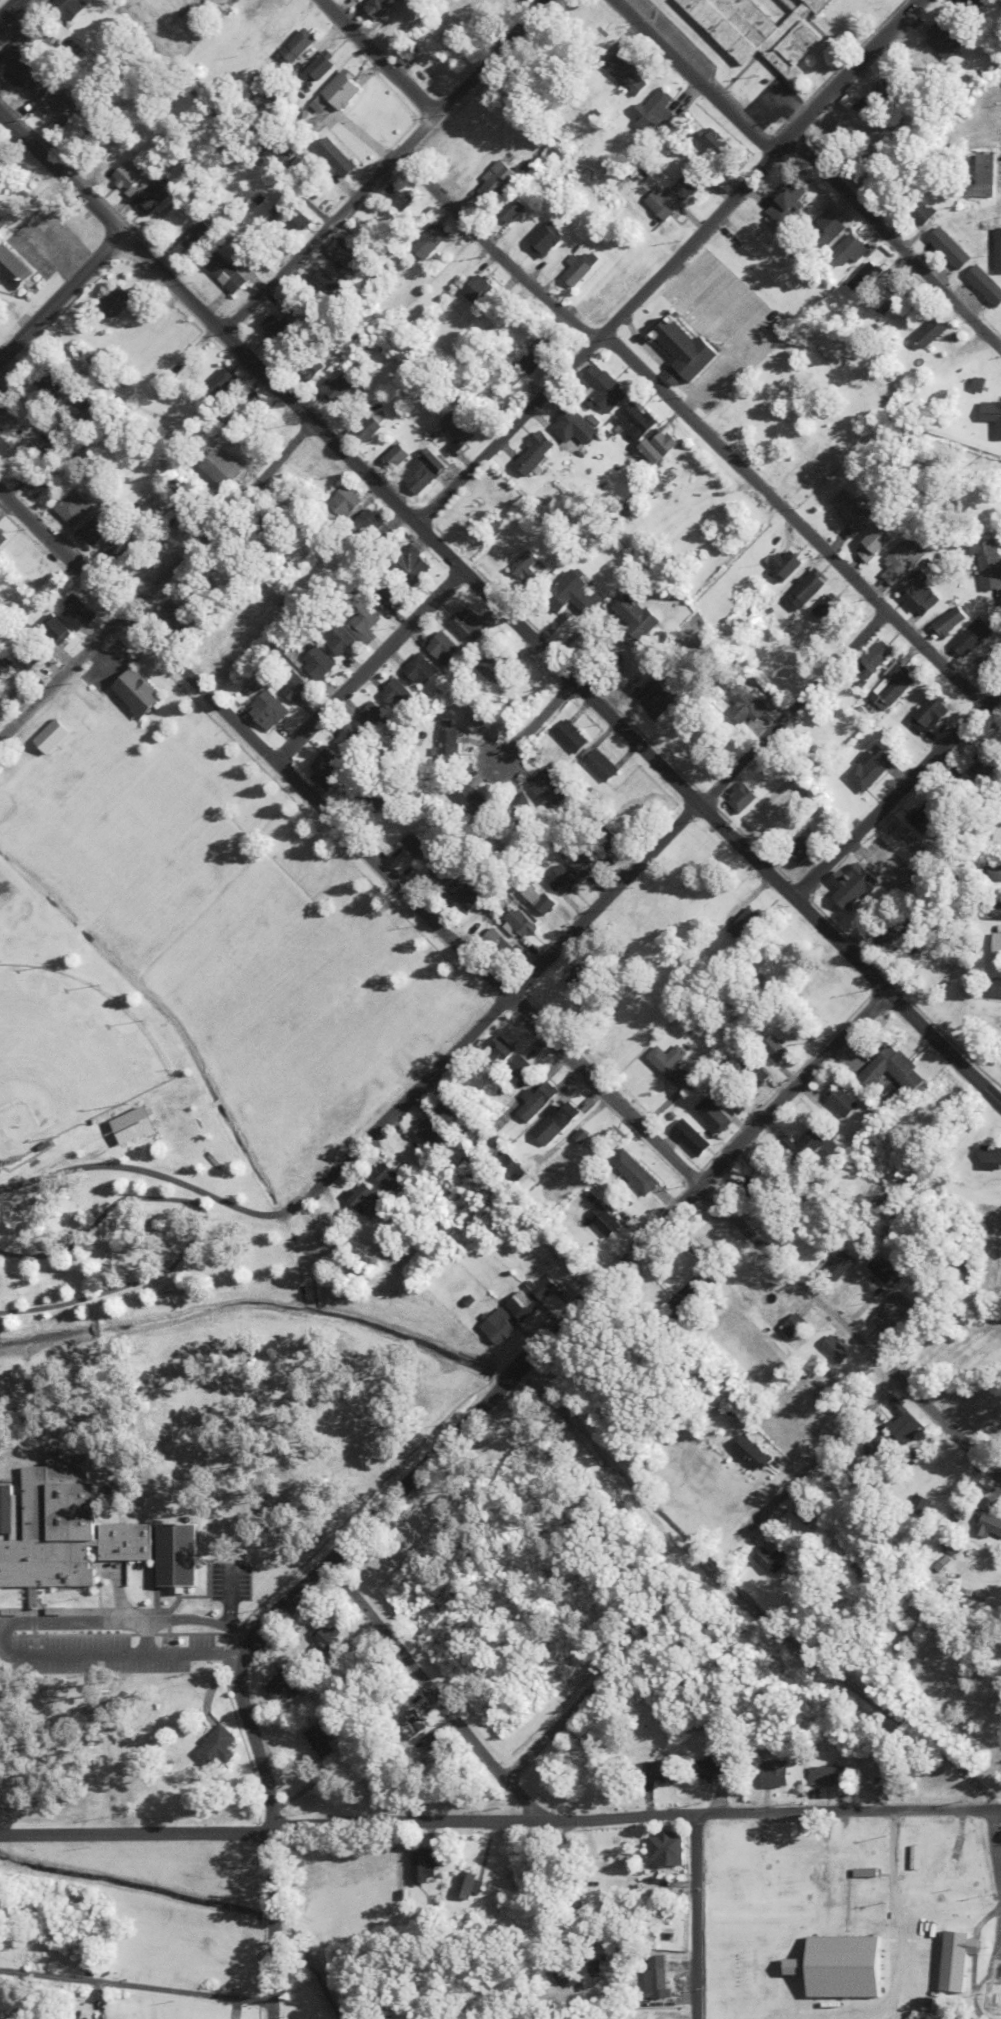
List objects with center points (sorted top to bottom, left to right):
building: (504, 6)
building: (970, 6)
road: (7, 7)
building: (382, 7)
building: (68, 8)
building: (269, 20)
building: (761, 31)
building: (400, 32)
building: (39, 35)
building: (944, 42)
building: (297, 48)
building: (408, 55)
road: (377, 57)
building: (437, 64)
building: (325, 65)
building: (20, 66)
building: (628, 77)
road: (690, 77)
building: (344, 90)
building: (890, 95)
building: (64, 110)
building: (868, 110)
building: (655, 112)
building: (90, 135)
building: (719, 144)
building: (989, 147)
building: (337, 157)
road: (385, 167)
road: (60, 173)
building: (129, 177)
building: (498, 180)
building: (691, 184)
building: (793, 196)
building: (156, 197)
building: (398, 197)
building: (665, 204)
building: (515, 210)
building: (923, 213)
building: (294, 219)
building: (826, 229)
building: (200, 238)
building: (546, 240)
building: (432, 241)
road: (893, 243)
building: (952, 249)
road: (494, 251)
building: (849, 251)
building: (348, 256)
building: (999, 257)
road: (670, 263)
building: (582, 267)
building: (13, 269)
building: (226, 274)
building: (866, 278)
building: (323, 282)
building: (986, 285)
building: (479, 290)
road: (60, 296)
building: (115, 303)
building: (929, 333)
building: (687, 353)
building: (539, 356)
building: (320, 365)
road: (266, 378)
building: (50, 382)
building: (220, 383)
building: (976, 385)
building: (338, 387)
building: (604, 389)
building: (82, 401)
building: (246, 402)
building: (731, 413)
building: (991, 416)
building: (7, 420)
building: (638, 421)
building: (270, 425)
building: (574, 427)
building: (369, 429)
building: (458, 433)
building: (50, 434)
building: (3, 446)
building: (662, 446)
building: (808, 448)
building: (38, 453)
building: (536, 454)
building: (398, 456)
building: (223, 467)
building: (318, 468)
building: (424, 470)
building: (34, 481)
building: (337, 481)
building: (346, 501)
building: (78, 506)
building: (852, 510)
road: (792, 521)
building: (374, 524)
building: (97, 531)
building: (2, 540)
building: (879, 544)
building: (120, 547)
building: (904, 562)
building: (416, 563)
building: (988, 564)
building: (785, 565)
building: (525, 568)
road: (157, 582)
building: (809, 589)
building: (579, 592)
building: (922, 594)
building: (388, 597)
building: (830, 611)
building: (78, 614)
building: (637, 615)
building: (366, 619)
building: (952, 622)
building: (468, 624)
building: (57, 629)
building: (975, 636)
building: (343, 639)
building: (445, 647)
building: (881, 658)
building: (32, 663)
building: (320, 663)
building: (496, 665)
road: (368, 667)
building: (422, 669)
building: (10, 675)
building: (297, 687)
building: (894, 687)
building: (142, 693)
building: (399, 694)
building: (718, 694)
building: (661, 699)
building: (754, 706)
building: (271, 710)
building: (933, 713)
building: (480, 715)
building: (377, 718)
road: (536, 721)
building: (574, 737)
building: (353, 738)
building: (450, 741)
building: (604, 766)
building: (330, 768)
building: (983, 768)
building: (871, 770)
building: (550, 790)
road: (896, 793)
building: (745, 798)
building: (474, 801)
building: (519, 803)
road: (708, 811)
building: (929, 814)
building: (395, 816)
building: (808, 842)
building: (419, 847)
building: (587, 861)
building: (995, 872)
building: (447, 874)
building: (565, 880)
building: (856, 886)
park: (6, 893)
building: (471, 893)
building: (542, 899)
road: (608, 900)
building: (991, 910)
building: (524, 923)
building: (749, 923)
building: (883, 933)
building: (502, 944)
building: (997, 946)
building: (583, 978)
road: (498, 987)
building: (997, 988)
park: (180, 1009)
building: (780, 1050)
building: (504, 1051)
park: (66, 1057)
building: (675, 1063)
building: (528, 1070)
building: (896, 1071)
building: (760, 1072)
building: (735, 1099)
building: (543, 1101)
building: (846, 1102)
building: (459, 1111)
building: (720, 1116)
building: (561, 1123)
building: (438, 1133)
building: (696, 1138)
building: (810, 1146)
building: (993, 1157)
building: (776, 1168)
building: (523, 1171)
building: (638, 1172)
building: (396, 1176)
road: (169, 1180)
building: (749, 1188)
building: (373, 1199)
road: (99, 1211)
building: (609, 1222)
building: (852, 1240)
building: (564, 1258)
building: (887, 1275)
road: (128, 1281)
building: (547, 1289)
building: (689, 1300)
building: (526, 1306)
building: (892, 1314)
road: (566, 1322)
building: (794, 1326)
building: (503, 1327)
building: (834, 1349)
building: (816, 1409)
building: (906, 1423)
building: (877, 1442)
building: (758, 1454)
road: (817, 1456)
building: (846, 1487)
building: (925, 1506)
building: (5, 1510)
building: (811, 1514)
building: (54, 1526)
building: (990, 1526)
building: (127, 1543)
building: (177, 1555)
building: (776, 1558)
road: (229, 1606)
parking lot: (126, 1632)
building: (330, 1637)
road: (217, 1638)
road: (230, 1645)
building: (287, 1685)
road: (432, 1692)
building: (417, 1726)
road: (554, 1728)
building: (324, 1744)
building: (218, 1747)
building: (431, 1747)
building: (711, 1768)
building: (662, 1771)
building: (867, 1772)
building: (772, 1775)
building: (827, 1776)
building: (607, 1780)
road: (846, 1813)
road: (344, 1821)
road: (270, 1832)
road: (996, 1848)
building: (667, 1849)
building: (738, 1849)
building: (953, 1857)
building: (425, 1866)
building: (470, 1886)
road: (692, 1917)
road: (898, 1928)
building: (963, 1960)
building: (575, 1974)
building: (656, 1978)
road: (135, 1988)
building: (995, 1995)
building: (5, 2007)
building: (625, 2018)

